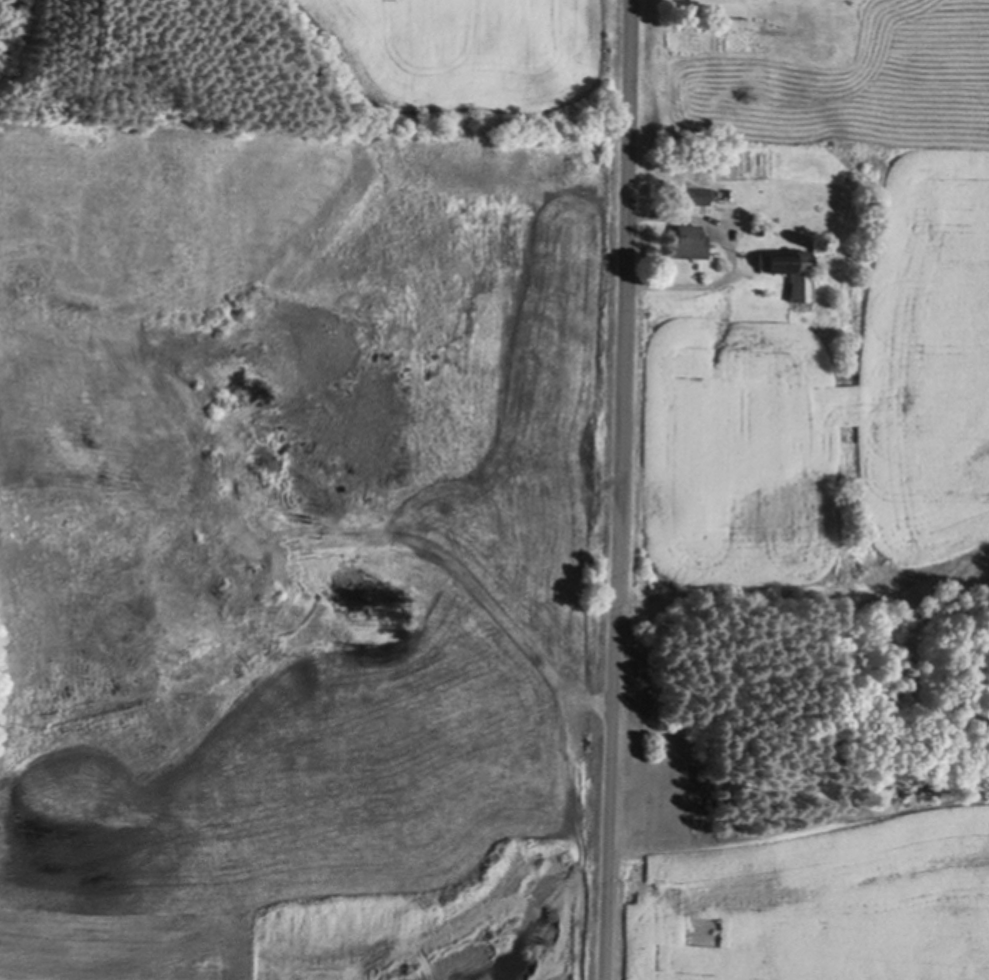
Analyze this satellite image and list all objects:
building: (698, 195)
building: (758, 228)
building: (815, 240)
building: (688, 243)
building: (793, 271)
quarry: (111, 366)
road: (357, 433)
road: (620, 490)

